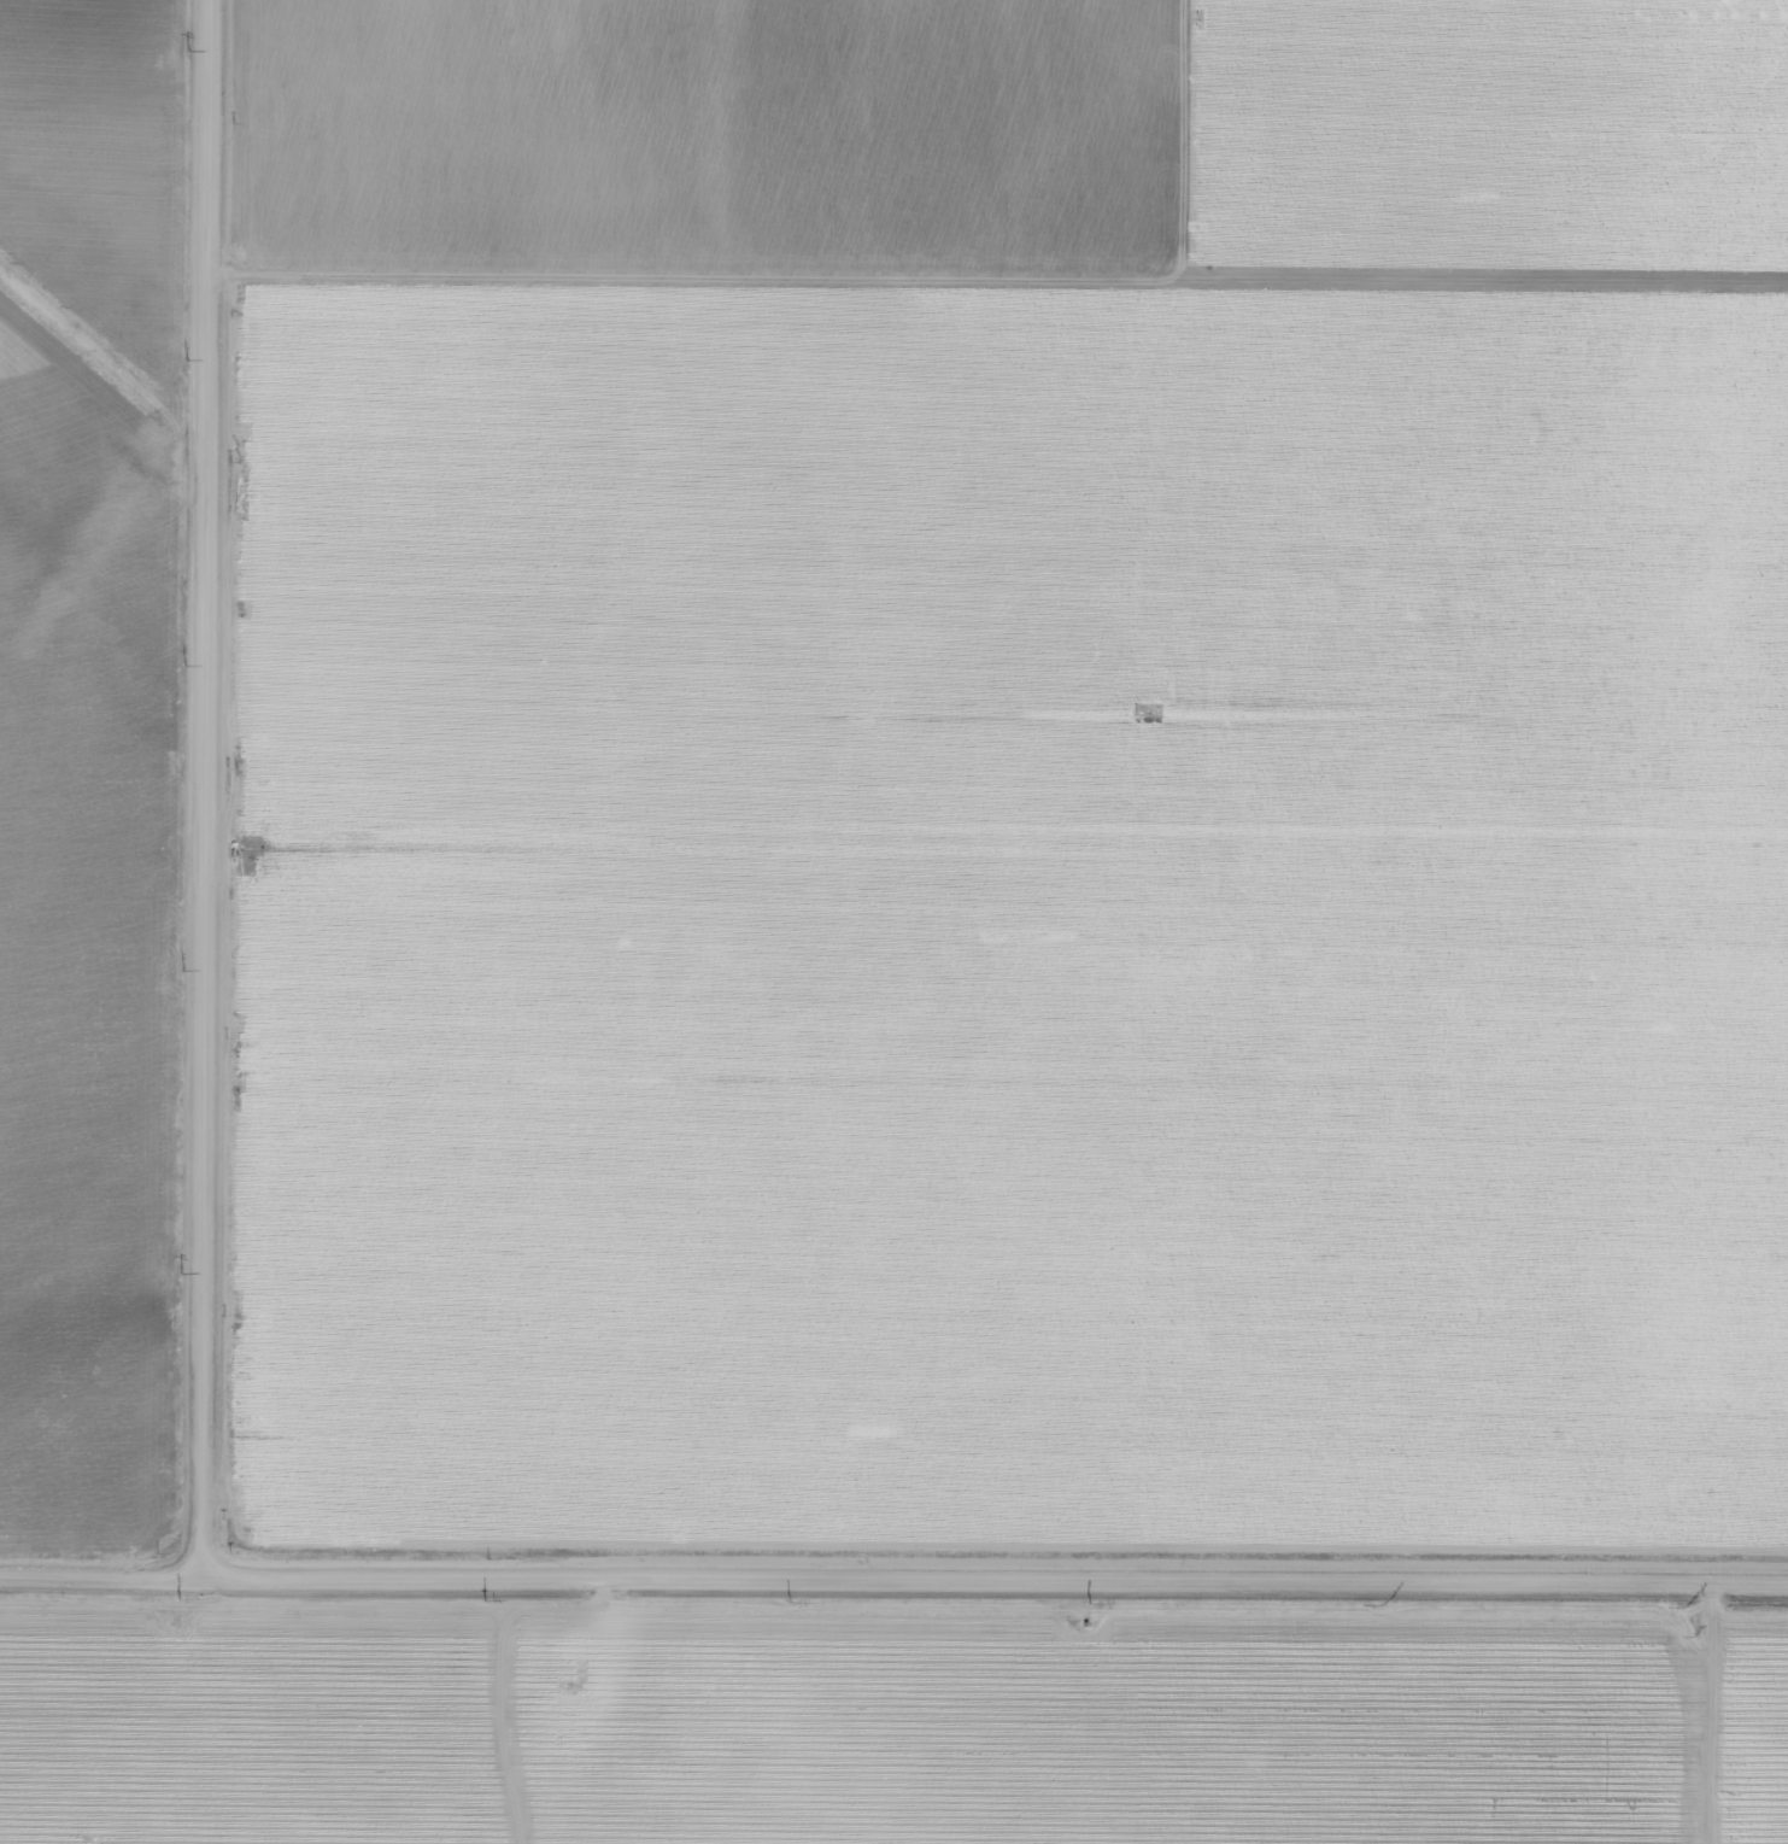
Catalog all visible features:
road: (184, 791)
road: (61, 1582)
road: (148, 1582)
road: (980, 1587)

